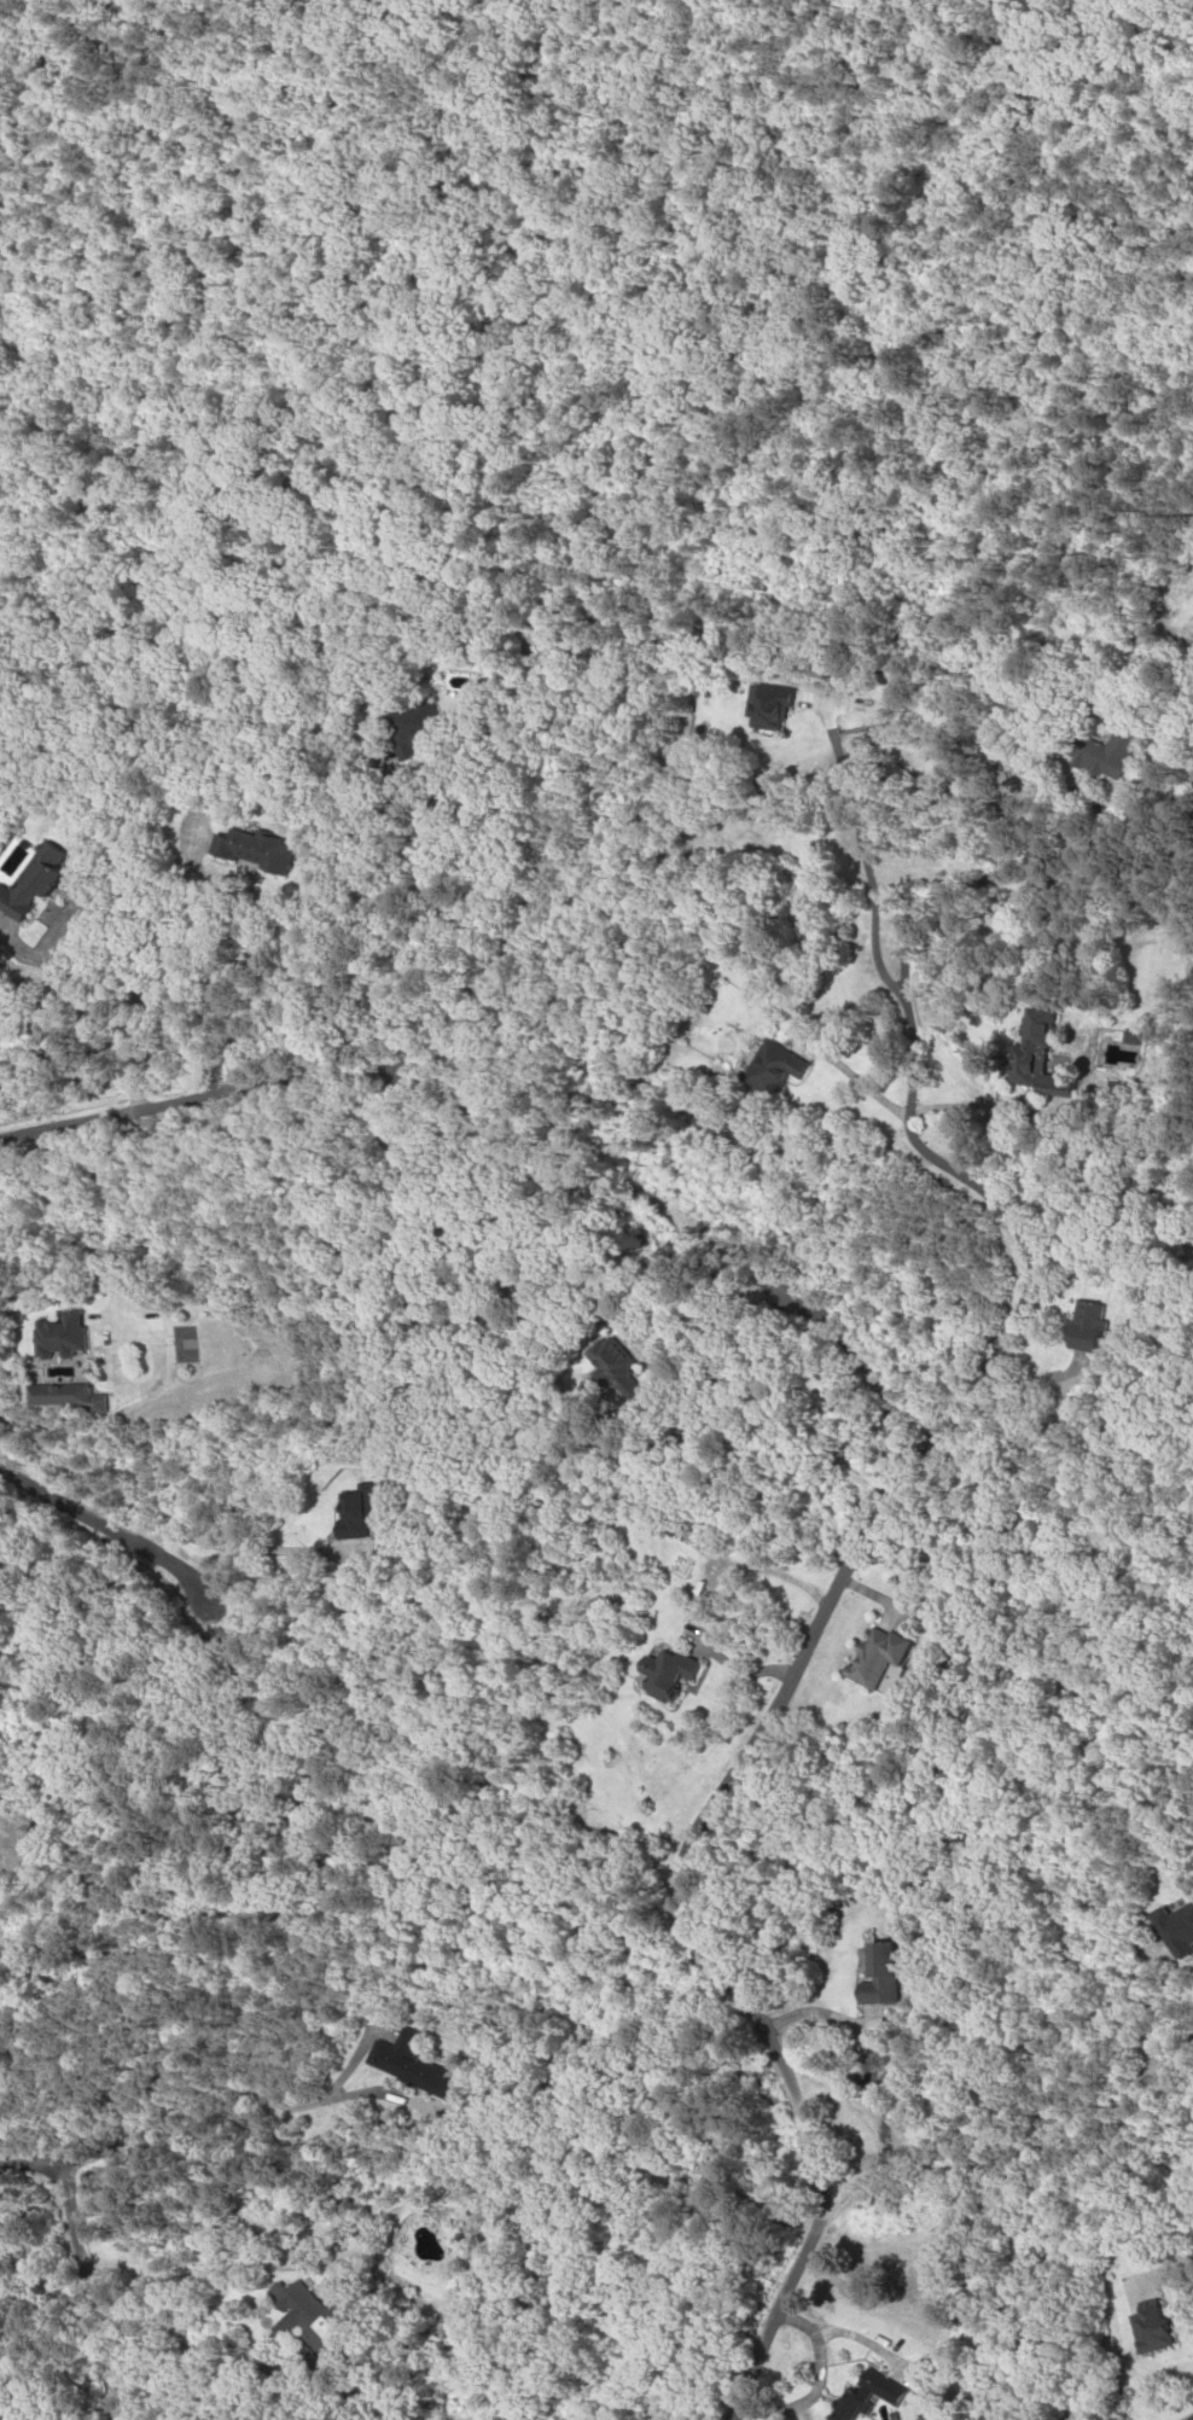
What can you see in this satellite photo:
building: (760, 708)
building: (401, 727)
building: (1100, 754)
building: (250, 850)
building: (31, 880)
road: (921, 909)
building: (1030, 1057)
building: (764, 1069)
road: (214, 1095)
building: (1081, 1326)
building: (60, 1334)
building: (612, 1371)
building: (60, 1395)
building: (353, 1509)
road: (95, 1534)
road: (839, 1575)
building: (872, 1656)
building: (660, 1674)
building: (874, 1976)
road: (816, 2015)
building: (406, 2065)
road: (225, 2089)
road: (999, 2160)
building: (287, 2255)
road: (72, 2269)
building: (301, 2316)
building: (1143, 2326)
road: (658, 2368)
building: (863, 2392)
building: (1187, 2416)

